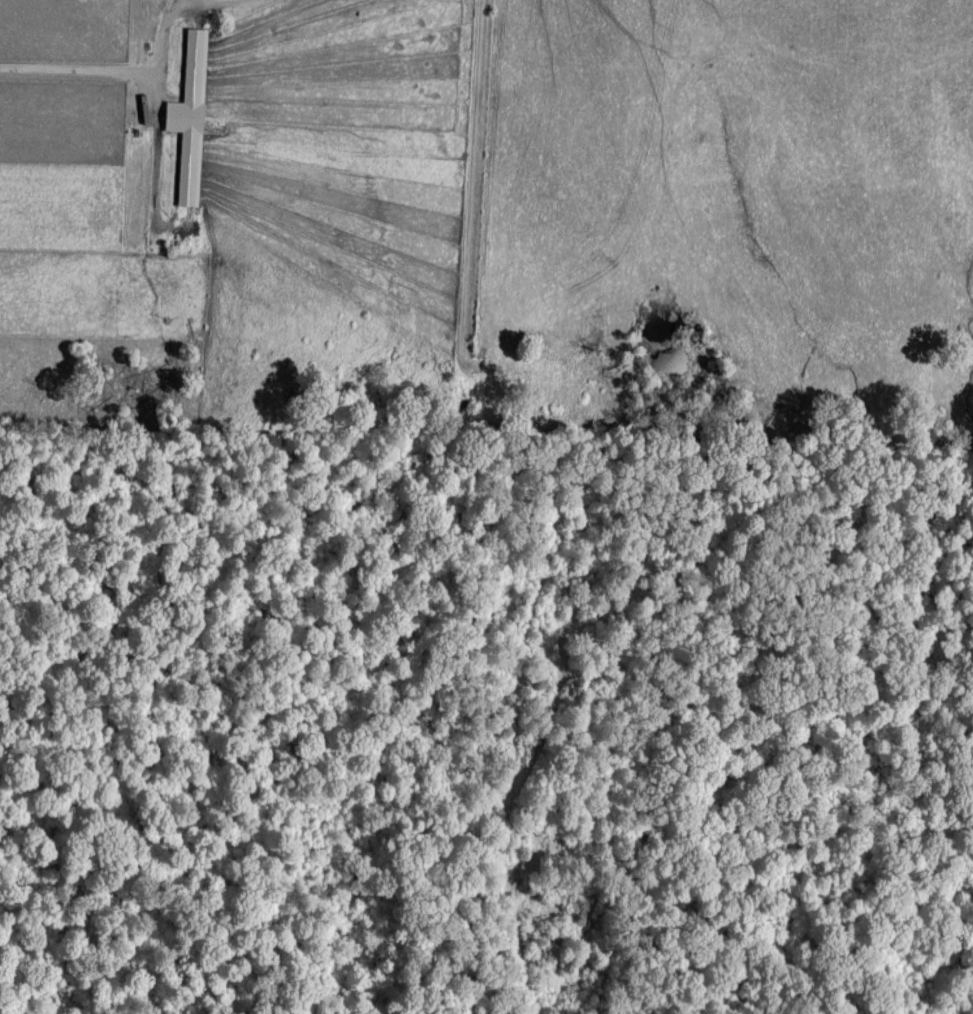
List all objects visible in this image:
building: (191, 116)

